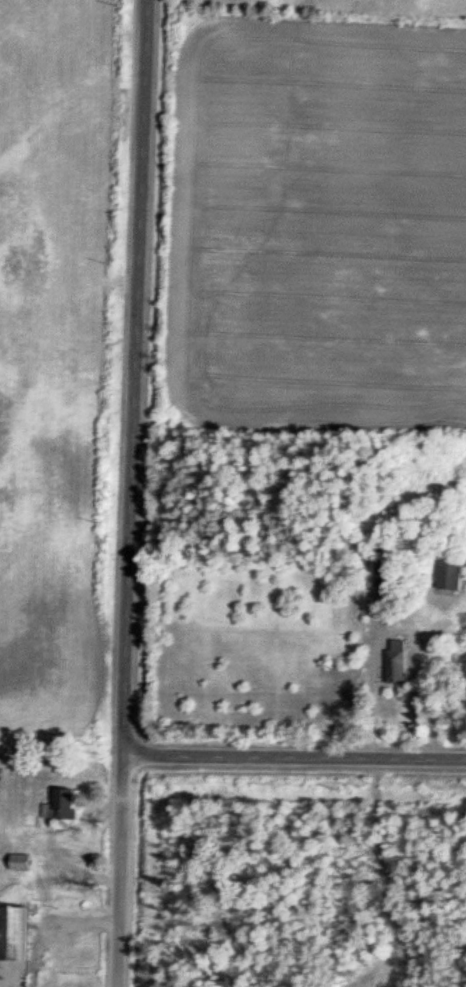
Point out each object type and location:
road: (137, 493)
building: (443, 575)
building: (392, 659)
road: (297, 759)
building: (50, 805)
building: (14, 860)
building: (11, 930)

